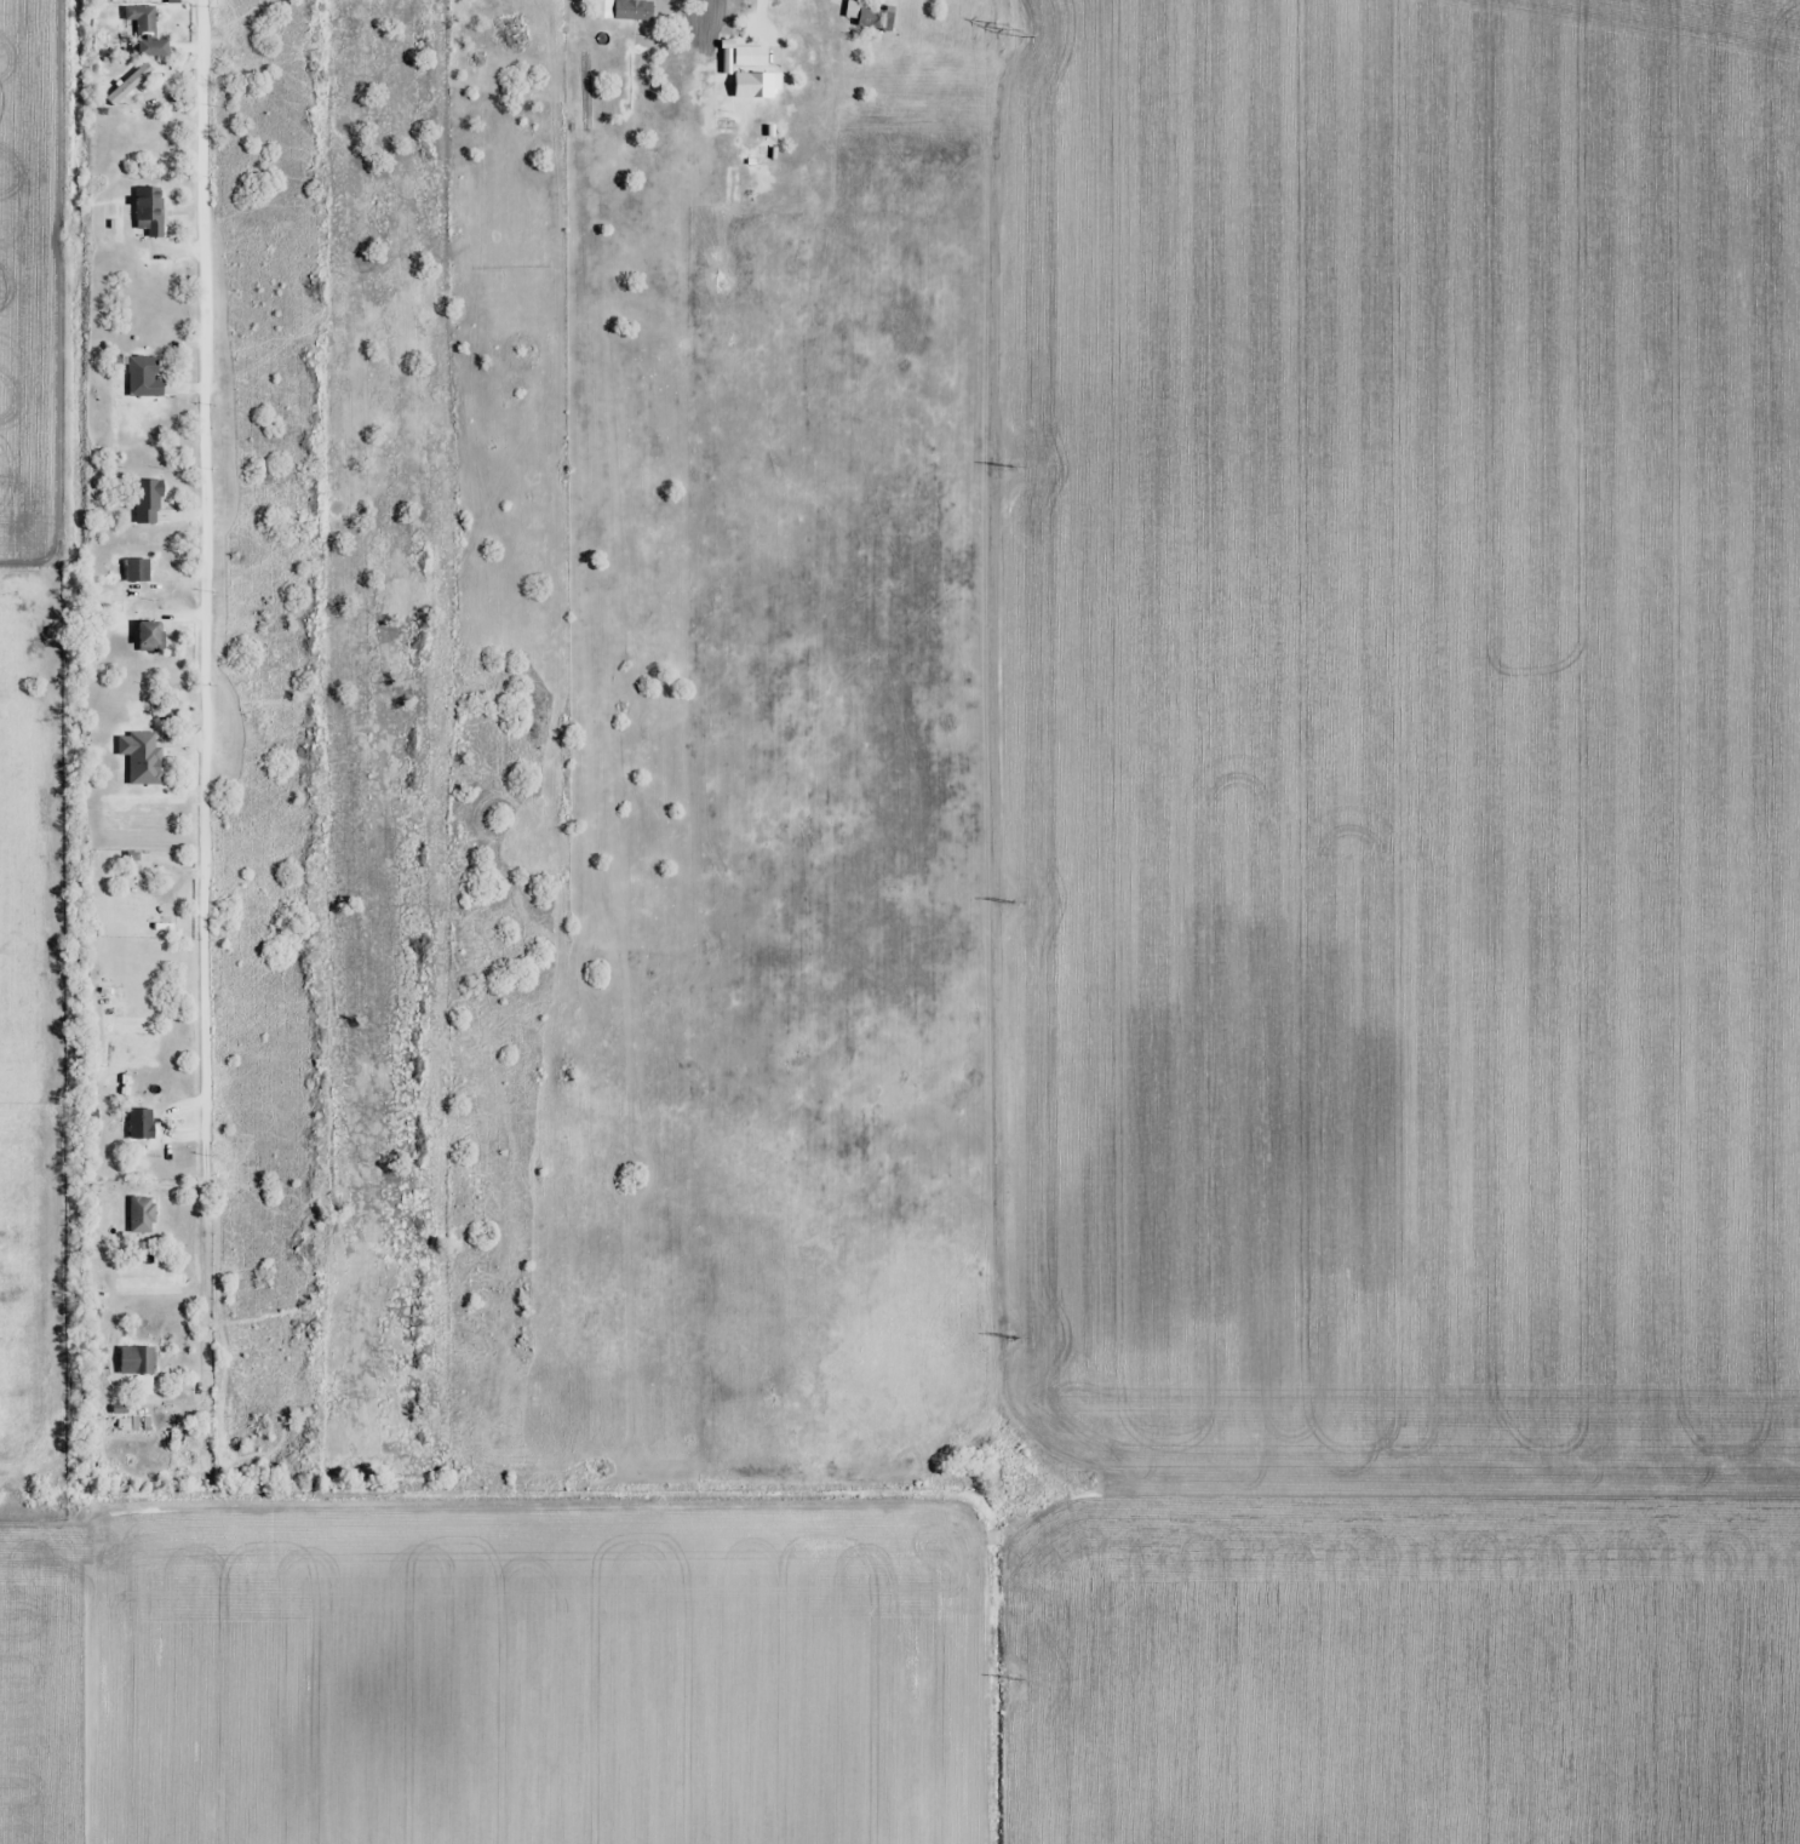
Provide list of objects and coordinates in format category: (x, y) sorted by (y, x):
building: (871, 15)
road: (763, 17)
building: (144, 21)
power tower: (1008, 29)
building: (131, 84)
building: (756, 85)
building: (151, 210)
building: (145, 378)
power tower: (1005, 465)
building: (149, 502)
building: (138, 571)
building: (150, 636)
road: (206, 697)
building: (143, 757)
power tower: (1007, 901)
building: (142, 1124)
building: (101, 1277)
power tower: (1011, 1338)
building: (138, 1362)
power tower: (1015, 1678)

